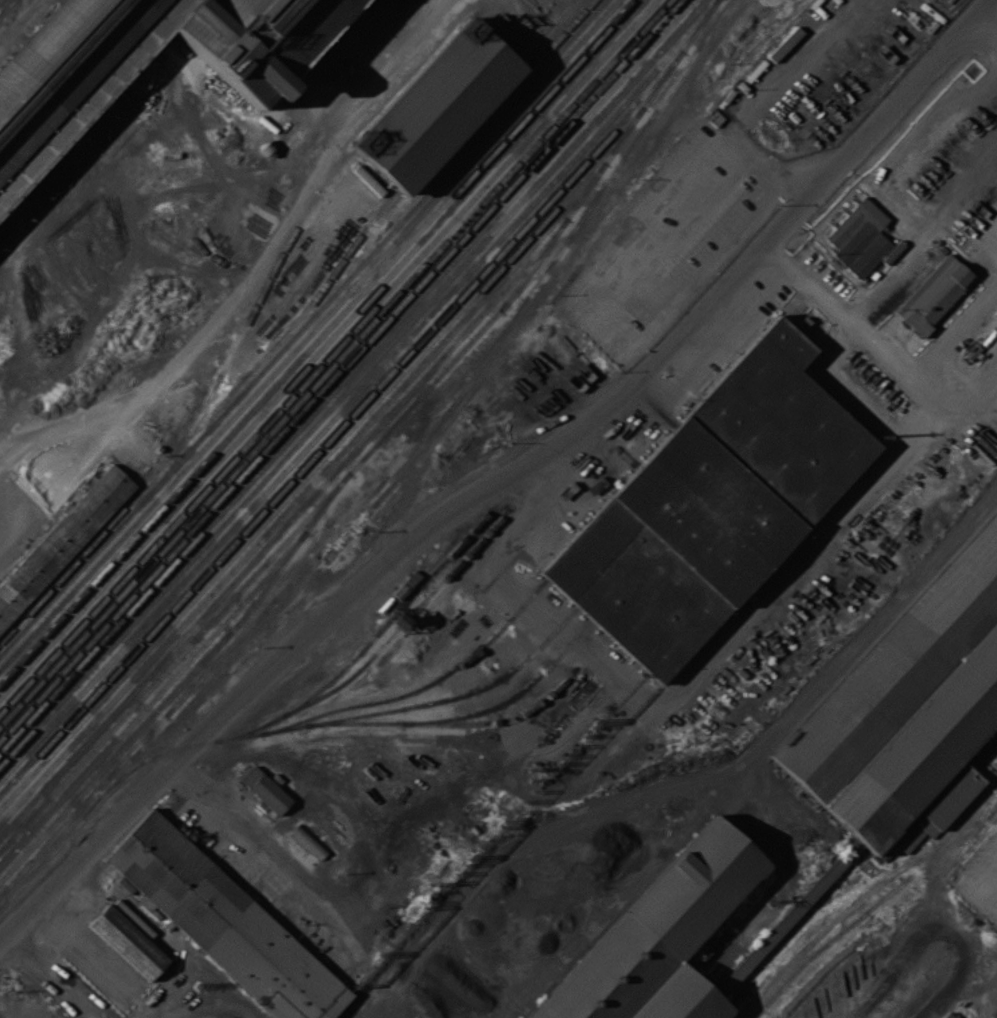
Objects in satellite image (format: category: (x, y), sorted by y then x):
railway: (0, 0)
road: (978, 4)
railway: (6, 7)
railway: (710, 8)
railway: (484, 11)
road: (15, 17)
railway: (542, 30)
building: (259, 37)
railway: (679, 54)
railway: (621, 64)
building: (68, 73)
railway: (415, 87)
building: (436, 106)
railway: (643, 108)
road: (750, 111)
railway: (456, 124)
railway: (606, 161)
building: (367, 180)
road: (778, 231)
building: (864, 236)
railway: (535, 264)
building: (934, 295)
railway: (254, 306)
railway: (302, 326)
railway: (308, 334)
railway: (315, 342)
railway: (322, 348)
railway: (328, 354)
road: (932, 360)
railway: (335, 362)
railway: (346, 375)
railway: (352, 383)
railway: (352, 398)
railway: (204, 419)
railway: (281, 433)
railway: (317, 448)
railway: (397, 480)
railway: (298, 484)
railway: (303, 492)
road: (7, 495)
building: (710, 505)
railway: (284, 527)
building: (60, 542)
railway: (293, 548)
building: (345, 556)
road: (509, 560)
railway: (390, 620)
railway: (233, 643)
railway: (380, 647)
railway: (174, 661)
road: (843, 661)
building: (894, 668)
railway: (198, 673)
railway: (153, 698)
railway: (510, 700)
railway: (433, 702)
railway: (335, 710)
railway: (447, 723)
building: (921, 747)
building: (265, 789)
building: (308, 842)
road: (940, 892)
building: (225, 921)
building: (655, 927)
building: (128, 942)
building: (680, 997)
building: (946, 1015)

